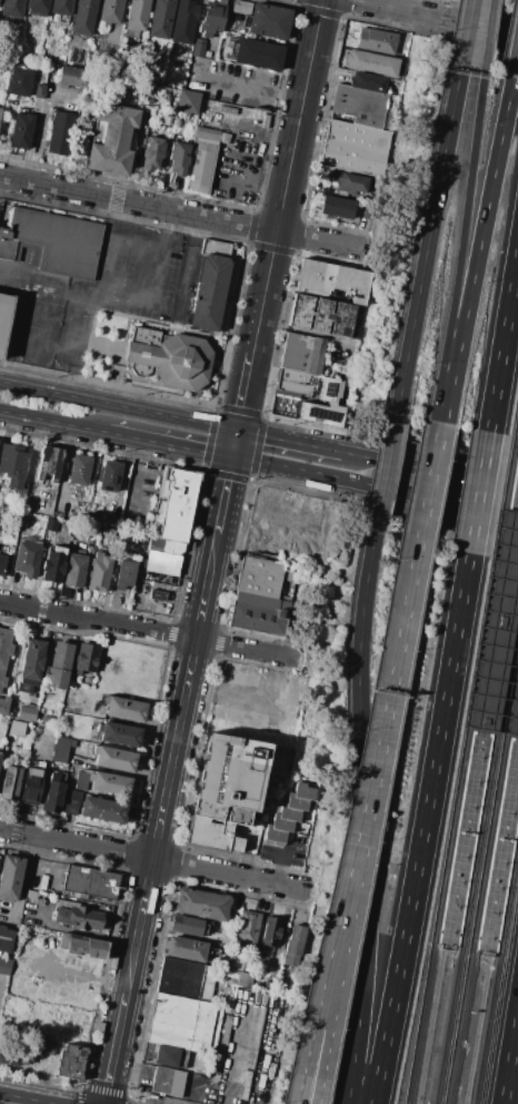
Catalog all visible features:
building: (14, 2)
building: (61, 7)
building: (37, 8)
building: (240, 8)
building: (110, 11)
building: (82, 17)
building: (136, 17)
building: (212, 17)
road: (430, 17)
building: (235, 18)
building: (161, 19)
building: (268, 21)
building: (183, 22)
road: (465, 33)
road: (487, 36)
building: (376, 41)
building: (198, 48)
building: (207, 55)
building: (259, 55)
road: (515, 62)
building: (372, 63)
building: (70, 76)
building: (147, 77)
building: (18, 79)
building: (156, 80)
building: (369, 81)
road: (246, 83)
building: (38, 92)
building: (150, 95)
building: (69, 102)
building: (187, 102)
building: (220, 103)
building: (365, 106)
building: (0, 109)
building: (169, 120)
building: (20, 130)
building: (59, 132)
building: (112, 140)
building: (356, 148)
building: (152, 152)
building: (178, 158)
building: (201, 159)
road: (271, 179)
building: (349, 180)
building: (337, 207)
building: (0, 208)
road: (186, 214)
road: (278, 215)
road: (107, 238)
road: (427, 239)
building: (54, 241)
road: (460, 246)
road: (477, 249)
building: (331, 278)
building: (213, 284)
road: (41, 287)
road: (151, 293)
parking lot: (91, 295)
road: (16, 314)
building: (323, 316)
building: (6, 321)
road: (46, 322)
road: (502, 338)
road: (72, 345)
road: (40, 351)
building: (173, 358)
building: (299, 363)
building: (340, 369)
building: (329, 388)
road: (118, 405)
building: (320, 413)
road: (53, 422)
railway: (516, 426)
traffic signals: (236, 430)
road: (288, 441)
road: (232, 443)
road: (168, 445)
traffic signals: (230, 456)
building: (49, 463)
building: (12, 464)
road: (63, 467)
road: (430, 469)
building: (79, 470)
road: (385, 473)
building: (109, 477)
road: (135, 481)
road: (373, 485)
road: (478, 492)
railway: (505, 497)
building: (86, 519)
building: (172, 521)
building: (94, 522)
building: (51, 525)
road: (510, 529)
road: (418, 556)
building: (27, 559)
building: (53, 563)
building: (2, 564)
road: (515, 564)
building: (74, 571)
building: (98, 572)
building: (124, 574)
building: (263, 575)
building: (157, 594)
road: (501, 603)
road: (152, 609)
building: (259, 613)
road: (511, 621)
road: (509, 622)
road: (498, 623)
road: (500, 623)
road: (511, 625)
building: (496, 630)
road: (150, 631)
road: (496, 637)
building: (4, 653)
building: (84, 658)
building: (30, 664)
building: (58, 666)
road: (502, 669)
building: (73, 698)
road: (268, 703)
building: (3, 704)
building: (124, 709)
building: (514, 710)
building: (27, 712)
road: (484, 712)
road: (515, 718)
building: (49, 721)
building: (17, 728)
building: (48, 731)
building: (119, 735)
building: (61, 749)
building: (113, 759)
building: (37, 765)
road: (107, 768)
building: (34, 771)
railway: (489, 773)
road: (166, 779)
building: (31, 781)
building: (81, 781)
building: (10, 783)
building: (109, 785)
building: (306, 790)
building: (223, 791)
building: (29, 795)
building: (52, 795)
building: (297, 802)
building: (103, 809)
building: (288, 814)
road: (363, 818)
building: (281, 824)
road: (422, 828)
railway: (450, 830)
building: (273, 837)
road: (155, 860)
road: (281, 865)
building: (10, 876)
railway: (481, 879)
building: (42, 881)
building: (90, 883)
building: (54, 888)
railway: (444, 893)
railway: (484, 895)
building: (31, 896)
road: (340, 896)
road: (352, 896)
building: (200, 905)
building: (78, 918)
building: (188, 926)
building: (247, 930)
road: (86, 933)
building: (269, 936)
building: (4, 939)
building: (295, 945)
road: (441, 945)
building: (81, 946)
building: (186, 948)
road: (490, 954)
building: (4, 965)
building: (237, 966)
railway: (496, 970)
road: (81, 975)
building: (185, 978)
building: (245, 979)
building: (271, 987)
road: (430, 1021)
building: (183, 1023)
road: (477, 1025)
railway: (447, 1026)
building: (223, 1029)
building: (46, 1046)
building: (13, 1055)
building: (170, 1056)
road: (509, 1056)
building: (69, 1061)
road: (236, 1061)
road: (262, 1061)
building: (161, 1080)
road: (196, 1092)
road: (29, 1097)

